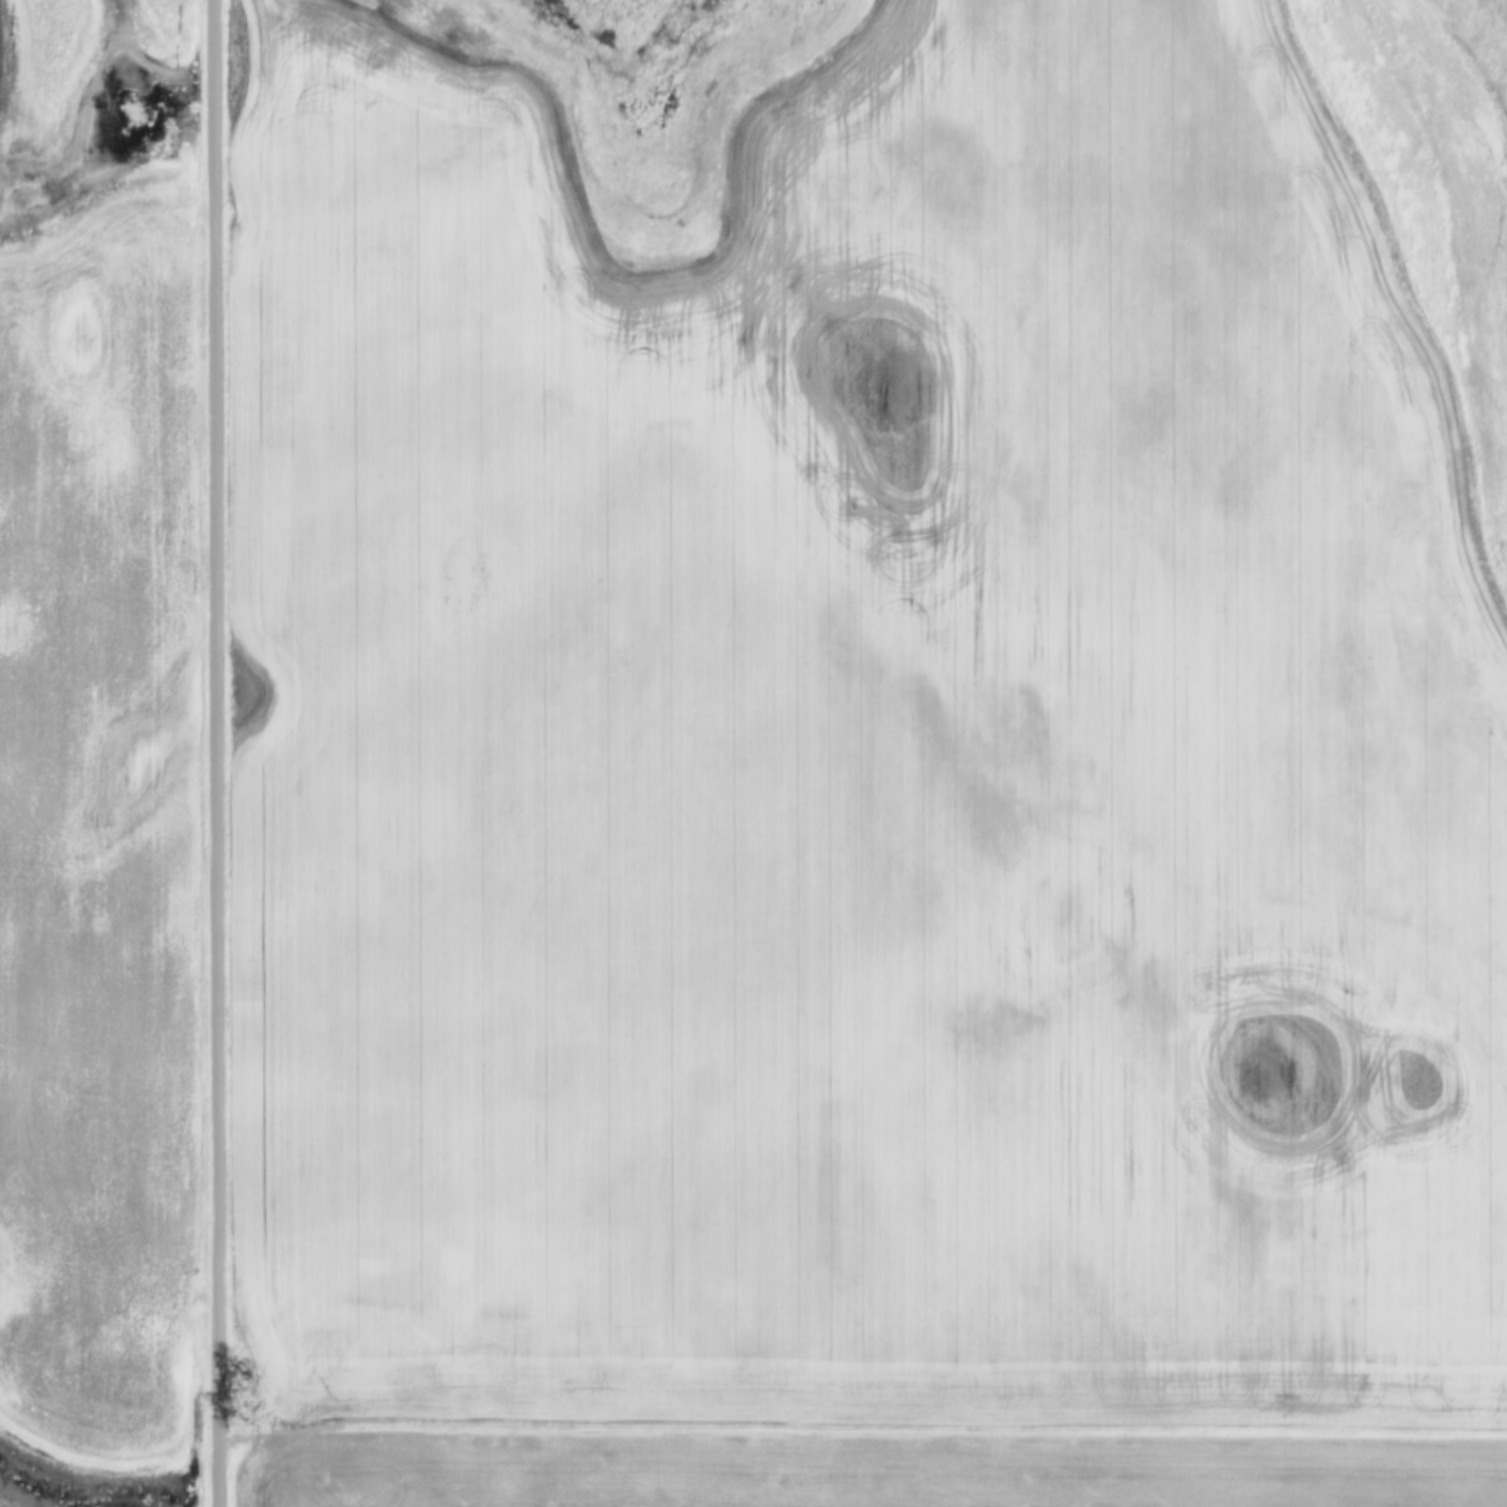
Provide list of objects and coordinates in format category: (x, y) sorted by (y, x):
road: (217, 753)
road: (862, 1419)

